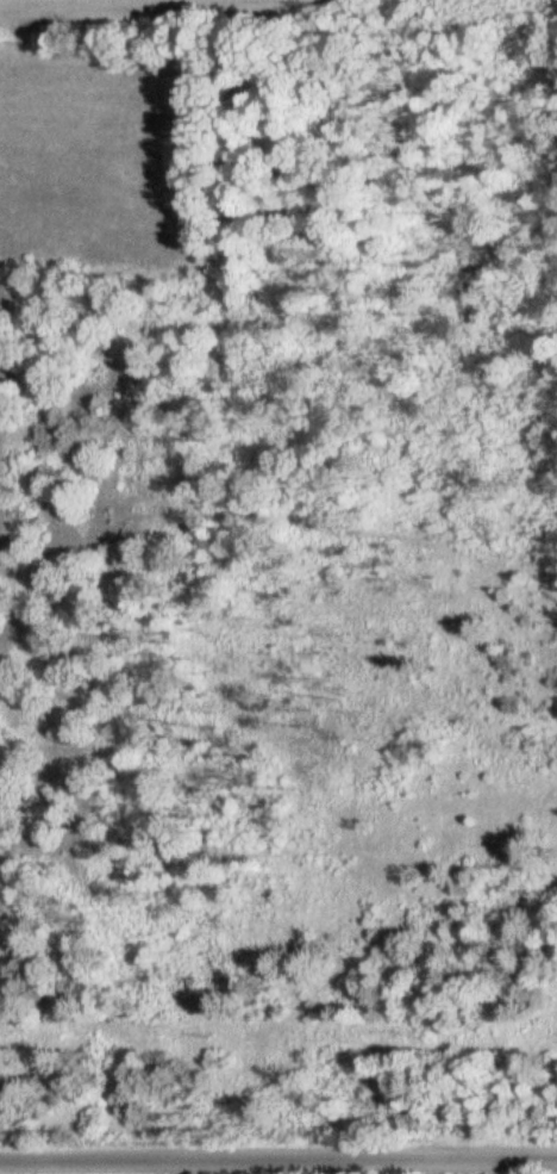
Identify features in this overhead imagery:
road: (51, 1173)

